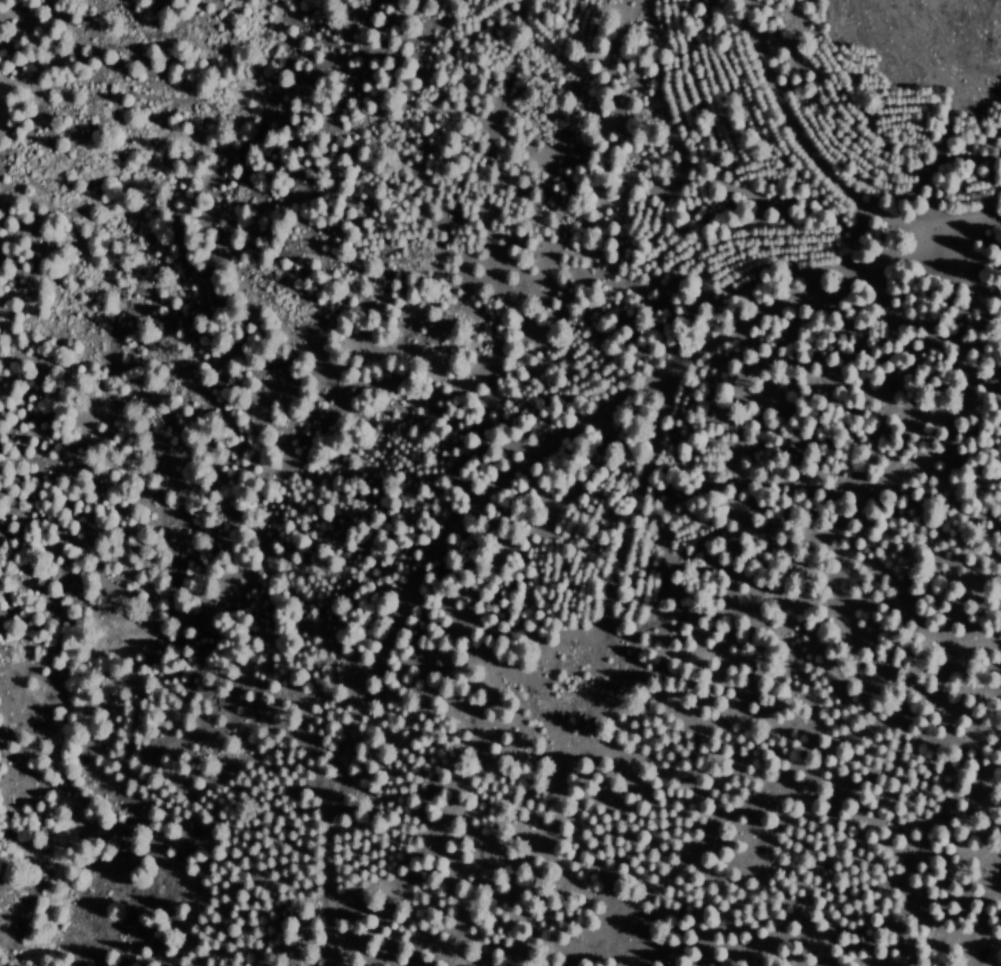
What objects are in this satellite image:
road: (825, 172)

